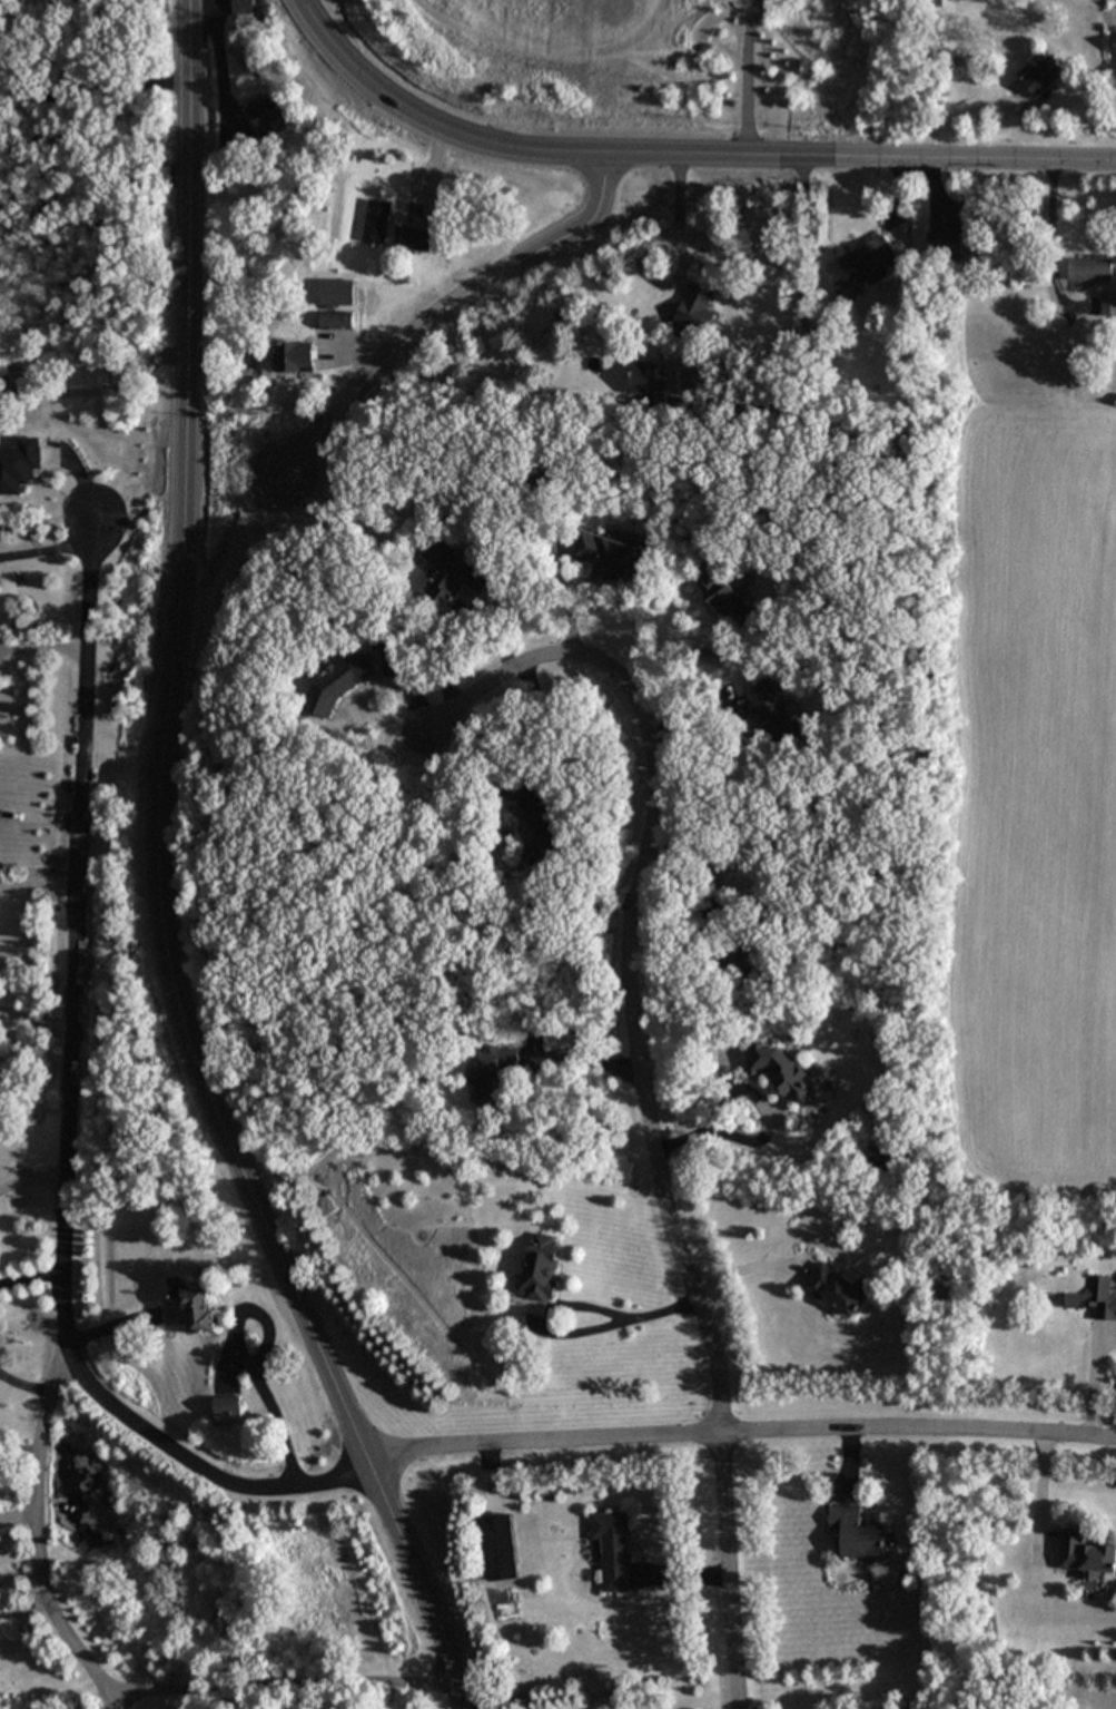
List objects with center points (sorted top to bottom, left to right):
building: (1115, 50)
building: (1043, 75)
road: (750, 80)
road: (90, 91)
building: (264, 111)
road: (454, 154)
road: (92, 179)
road: (653, 187)
building: (376, 220)
road: (681, 223)
building: (415, 237)
building: (945, 246)
building: (859, 265)
building: (1089, 268)
building: (336, 292)
building: (1108, 303)
building: (695, 306)
building: (336, 320)
building: (293, 356)
road: (90, 366)
building: (649, 382)
building: (19, 464)
road: (50, 549)
building: (606, 554)
building: (450, 572)
building: (723, 596)
road: (43, 646)
building: (338, 681)
building: (772, 710)
road: (161, 753)
road: (39, 814)
building: (531, 822)
building: (762, 867)
road: (38, 885)
building: (743, 956)
road: (2, 1011)
road: (2, 1014)
road: (38, 1021)
building: (492, 1070)
building: (778, 1070)
road: (642, 1091)
road: (69, 1121)
road: (724, 1136)
building: (887, 1156)
road: (32, 1175)
building: (540, 1266)
road: (30, 1275)
building: (837, 1288)
building: (1095, 1297)
building: (192, 1304)
road: (566, 1304)
road: (246, 1363)
road: (23, 1385)
building: (226, 1406)
road: (742, 1433)
building: (857, 1532)
road: (38, 1540)
building: (613, 1548)
building: (1085, 1554)
road: (425, 1585)
road: (282, 1680)

